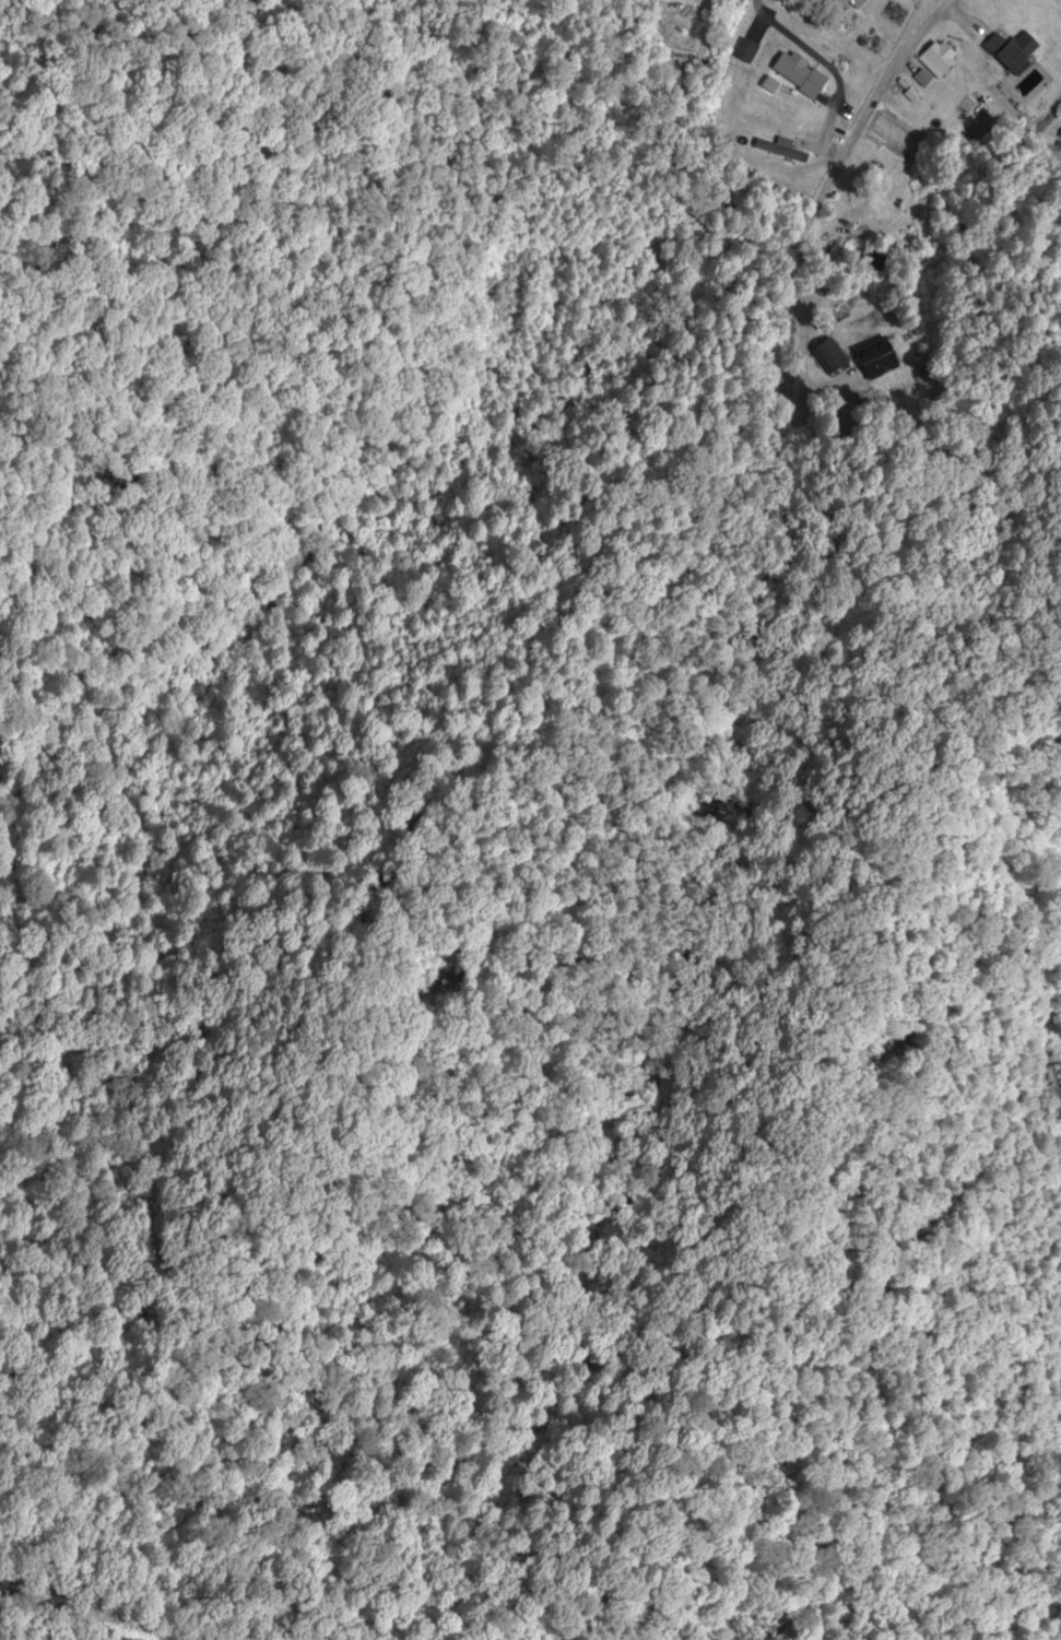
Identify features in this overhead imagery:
building: (850, 3)
road: (779, 38)
building: (1012, 50)
building: (745, 52)
building: (939, 60)
building: (800, 74)
building: (769, 86)
building: (780, 150)
road: (827, 182)
building: (832, 356)
building: (880, 359)
building: (1054, 1083)

